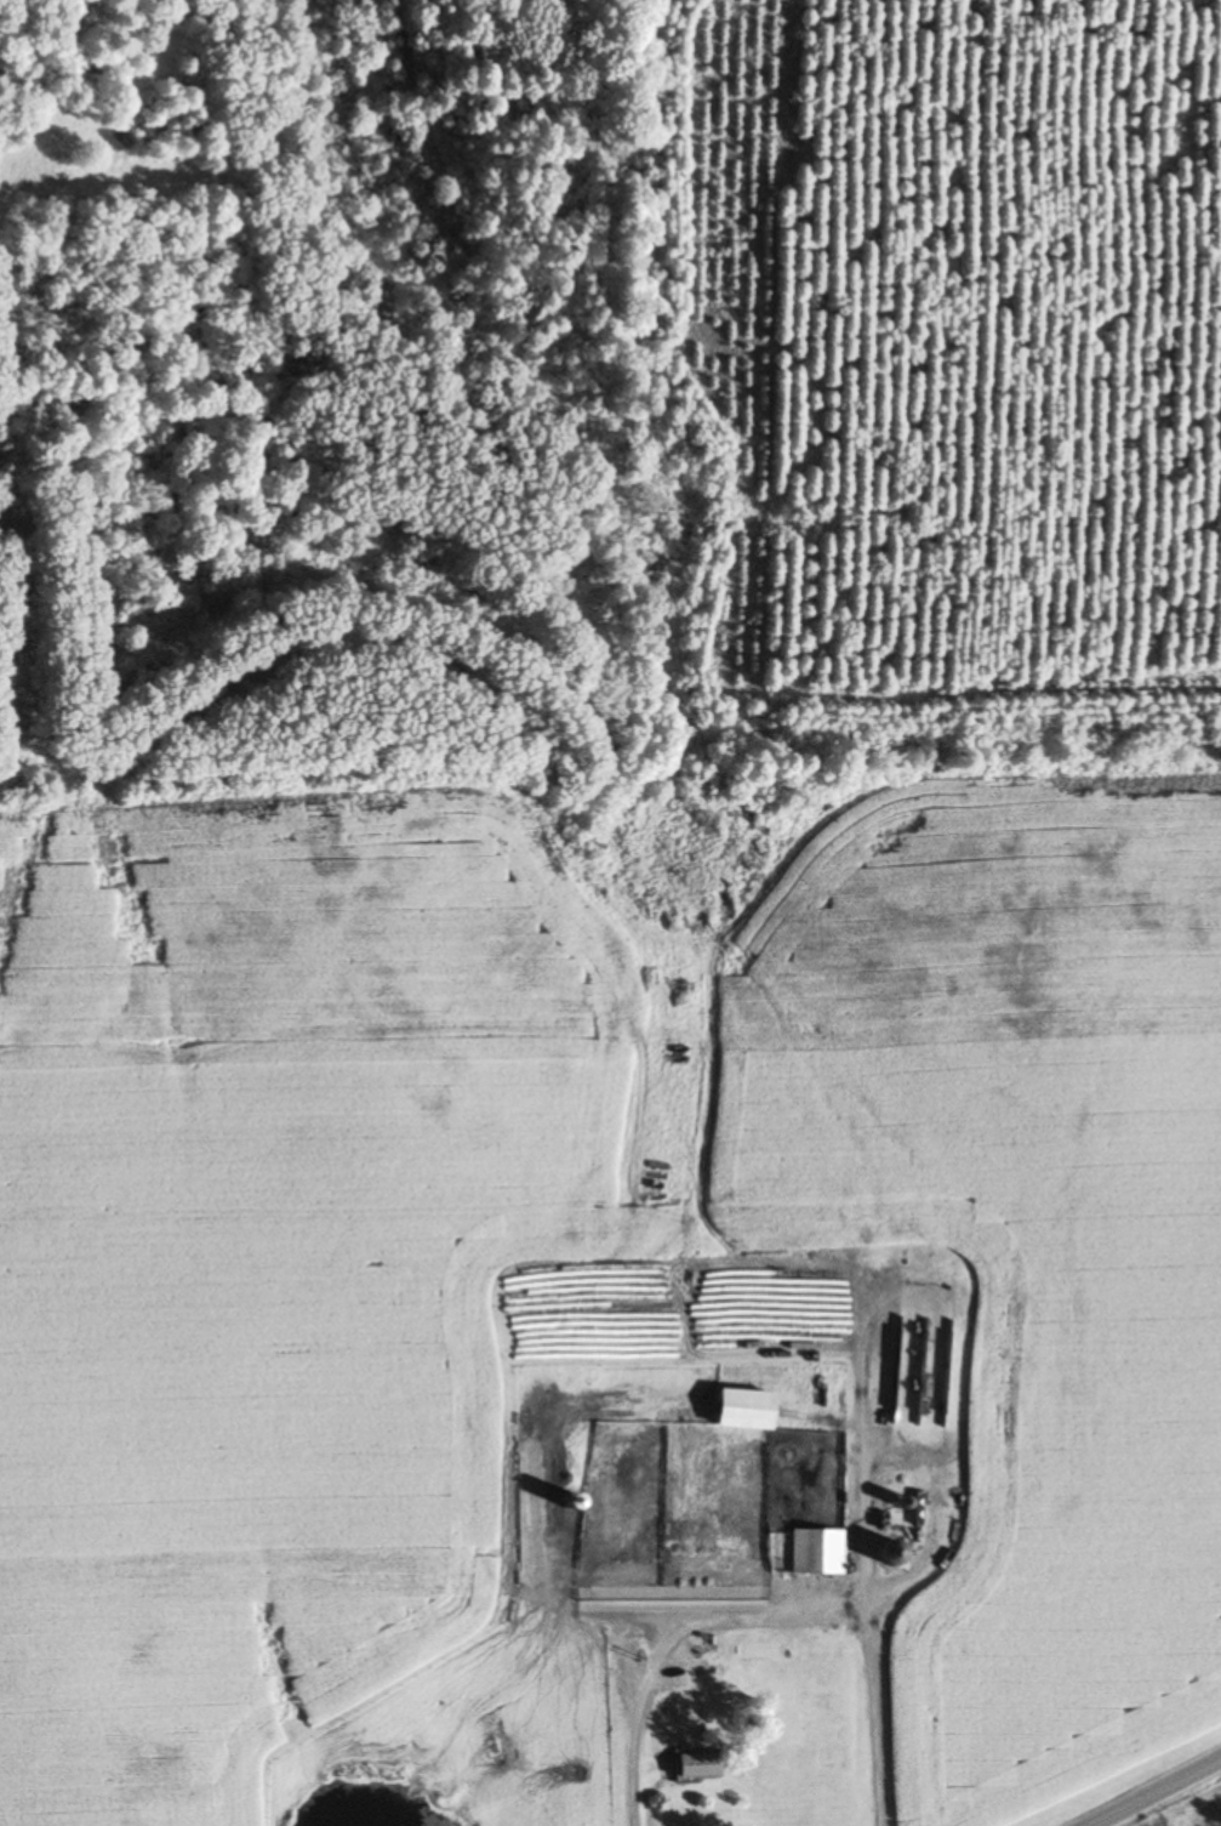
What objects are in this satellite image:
building: (732, 1410)
building: (810, 1552)
building: (878, 1553)
building: (685, 1767)
road: (1146, 1790)

